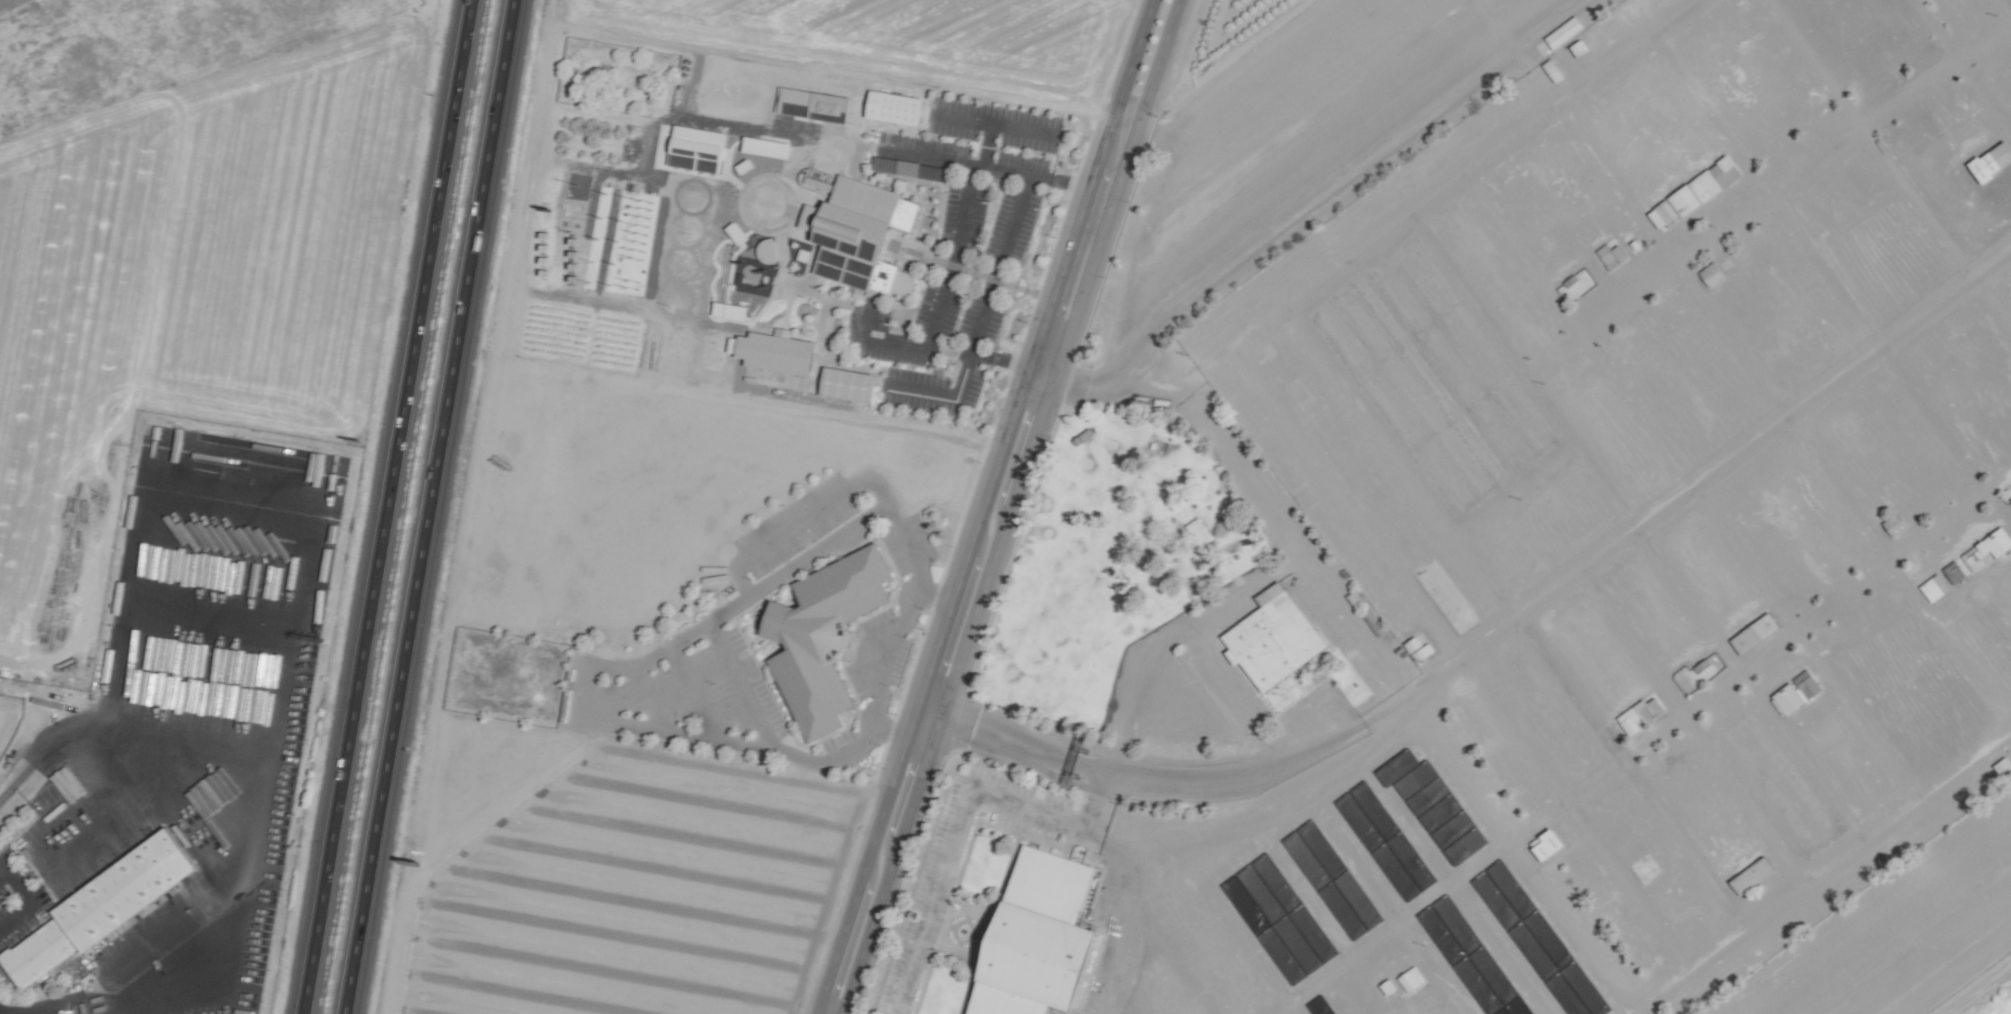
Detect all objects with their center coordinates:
crop: (1051, 29)
building: (1560, 32)
road: (1123, 91)
building: (810, 104)
building: (889, 107)
road: (961, 118)
road: (1001, 124)
road: (837, 144)
building: (762, 146)
building: (1989, 160)
road: (1116, 185)
building: (1697, 188)
road: (1313, 198)
building: (857, 234)
road: (1071, 247)
building: (763, 250)
building: (1601, 250)
building: (1710, 274)
building: (1576, 282)
road: (940, 304)
road: (1119, 307)
road: (980, 321)
building: (771, 350)
road: (947, 352)
road: (999, 362)
road: (1042, 369)
building: (842, 383)
road: (1046, 393)
building: (163, 441)
building: (223, 447)
building: (268, 455)
building: (301, 461)
road: (1023, 461)
road: (1710, 471)
road: (853, 486)
building: (2008, 494)
road: (385, 507)
road: (429, 507)
building: (1893, 525)
building: (200, 557)
building: (1932, 587)
road: (954, 594)
building: (1752, 633)
road: (966, 635)
building: (818, 636)
building: (162, 656)
road: (891, 656)
building: (1684, 676)
road: (585, 680)
road: (747, 685)
building: (1137, 692)
building: (1794, 692)
road: (701, 693)
building: (225, 698)
road: (651, 698)
building: (1636, 715)
road: (922, 729)
building: (2001, 765)
road: (1178, 779)
road: (911, 803)
road: (955, 815)
building: (199, 831)
building: (1543, 844)
building: (1747, 877)
road: (31, 899)
building: (96, 906)
road: (869, 927)
road: (838, 946)
building: (1409, 979)
road: (1673, 985)
road: (45, 1006)

